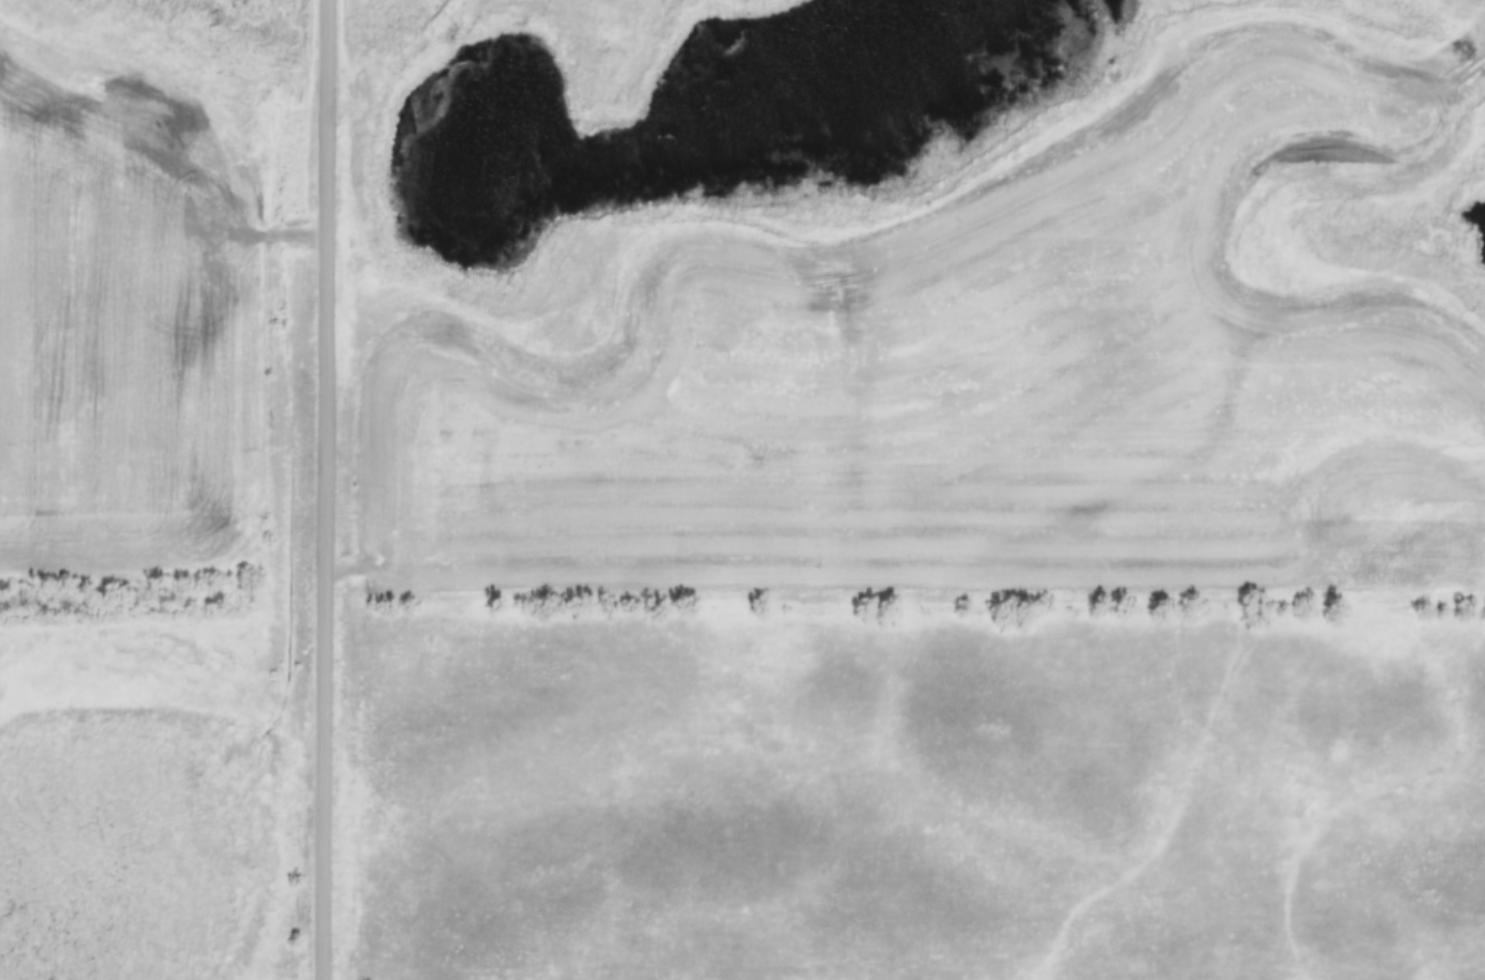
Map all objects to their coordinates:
road: (328, 489)

